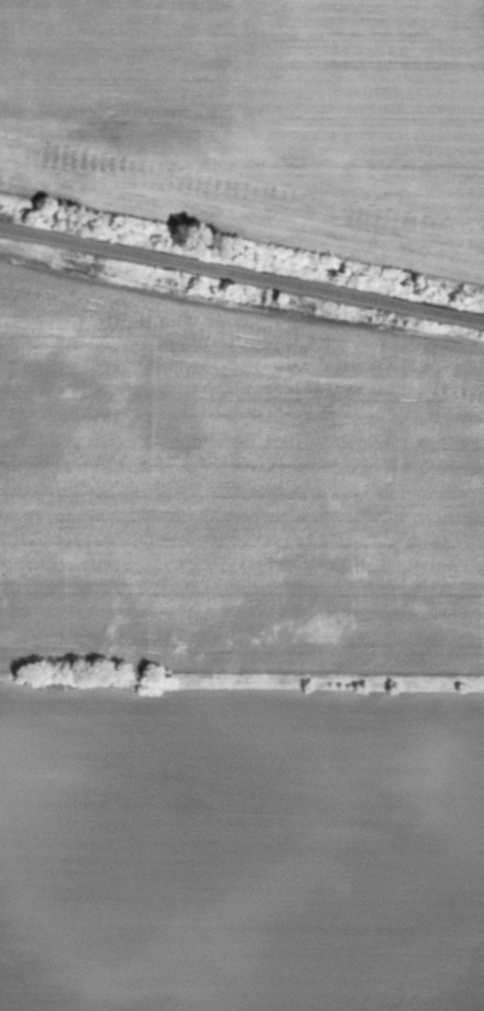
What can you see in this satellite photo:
railway: (242, 274)

